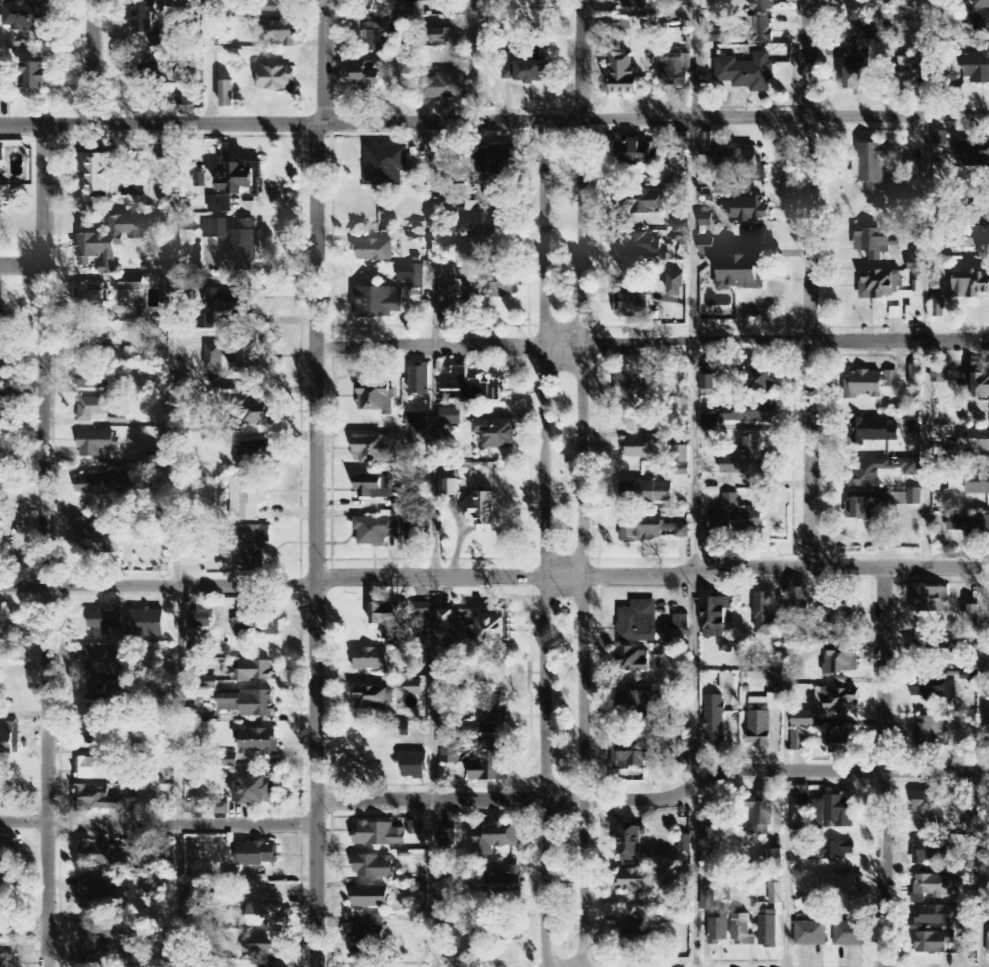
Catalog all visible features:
building: (408, 0)
building: (187, 1)
building: (533, 4)
building: (634, 4)
building: (981, 4)
building: (762, 5)
building: (276, 6)
building: (23, 17)
building: (616, 24)
building: (981, 24)
building: (869, 28)
building: (762, 29)
building: (277, 32)
building: (378, 33)
building: (444, 35)
building: (719, 36)
road: (324, 60)
road: (472, 60)
road: (580, 60)
road: (92, 61)
road: (206, 61)
building: (857, 67)
building: (976, 67)
building: (675, 69)
building: (526, 71)
building: (745, 72)
building: (622, 73)
building: (906, 74)
building: (150, 75)
building: (366, 75)
building: (35, 77)
building: (2, 78)
building: (276, 79)
building: (445, 86)
building: (226, 94)
road: (494, 121)
building: (940, 138)
building: (682, 142)
building: (705, 144)
building: (636, 153)
building: (974, 154)
building: (2, 155)
building: (490, 161)
building: (385, 165)
building: (740, 166)
building: (99, 172)
building: (236, 185)
building: (640, 202)
building: (749, 209)
building: (705, 218)
building: (680, 225)
building: (216, 229)
building: (967, 239)
building: (111, 240)
building: (873, 242)
building: (243, 245)
building: (639, 246)
building: (707, 246)
building: (373, 250)
building: (914, 261)
road: (21, 264)
building: (740, 273)
road: (809, 283)
building: (132, 284)
building: (675, 285)
building: (882, 285)
building: (972, 286)
building: (91, 295)
building: (387, 295)
building: (225, 301)
building: (448, 304)
building: (630, 304)
building: (938, 308)
building: (896, 314)
building: (206, 322)
building: (92, 339)
road: (652, 342)
building: (248, 356)
building: (214, 358)
building: (2, 363)
building: (939, 375)
building: (916, 376)
building: (892, 379)
building: (86, 380)
building: (419, 380)
building: (760, 380)
building: (710, 382)
building: (863, 384)
building: (470, 386)
building: (981, 387)
building: (642, 388)
road: (22, 398)
building: (377, 401)
building: (91, 409)
building: (255, 412)
building: (752, 414)
building: (450, 417)
building: (417, 420)
building: (710, 423)
building: (914, 426)
building: (879, 430)
building: (419, 436)
building: (975, 440)
building: (96, 443)
building: (641, 448)
building: (373, 449)
building: (251, 455)
building: (747, 459)
building: (681, 461)
building: (911, 467)
building: (869, 473)
building: (977, 483)
building: (101, 485)
building: (374, 487)
building: (450, 488)
building: (646, 493)
building: (909, 498)
building: (247, 499)
building: (482, 509)
building: (863, 509)
building: (740, 515)
building: (968, 525)
building: (376, 531)
building: (644, 531)
building: (677, 531)
building: (0, 539)
building: (91, 539)
road: (316, 543)
road: (46, 545)
road: (581, 545)
road: (543, 546)
building: (253, 548)
road: (495, 576)
building: (929, 601)
building: (799, 602)
building: (837, 612)
building: (765, 615)
building: (972, 616)
building: (201, 617)
building: (715, 617)
building: (389, 619)
building: (447, 620)
building: (104, 622)
building: (261, 622)
building: (1, 623)
building: (147, 623)
building: (638, 623)
building: (680, 624)
building: (491, 630)
building: (730, 647)
building: (930, 648)
building: (371, 660)
building: (634, 661)
building: (98, 662)
building: (841, 663)
building: (252, 672)
road: (695, 679)
building: (727, 682)
building: (413, 688)
building: (100, 689)
building: (930, 692)
building: (371, 698)
building: (839, 700)
building: (246, 704)
building: (638, 704)
building: (493, 714)
building: (714, 719)
building: (762, 720)
building: (803, 720)
building: (94, 730)
building: (930, 732)
building: (798, 741)
building: (841, 741)
building: (258, 743)
building: (6, 744)
building: (451, 753)
building: (638, 755)
building: (490, 763)
building: (414, 766)
road: (883, 767)
building: (91, 769)
road: (841, 770)
road: (696, 785)
building: (255, 791)
building: (4, 796)
building: (99, 800)
road: (505, 800)
building: (206, 807)
building: (934, 807)
building: (827, 808)
building: (760, 814)
road: (158, 823)
building: (972, 823)
building: (684, 824)
building: (714, 827)
building: (378, 835)
building: (449, 838)
building: (496, 839)
building: (630, 845)
building: (684, 845)
building: (9, 848)
building: (830, 851)
building: (929, 852)
building: (96, 855)
building: (257, 855)
building: (775, 857)
building: (374, 868)
road: (693, 877)
building: (635, 882)
building: (504, 883)
building: (837, 886)
building: (932, 886)
building: (420, 889)
building: (92, 893)
building: (776, 894)
building: (371, 899)
building: (708, 899)
building: (937, 915)
building: (266, 917)
building: (420, 921)
road: (23, 927)
building: (767, 928)
building: (718, 930)
building: (742, 932)
building: (810, 934)
building: (849, 935)
building: (638, 937)
building: (369, 940)
building: (988, 941)
building: (93, 943)
building: (933, 943)
building: (264, 951)
building: (9, 960)

